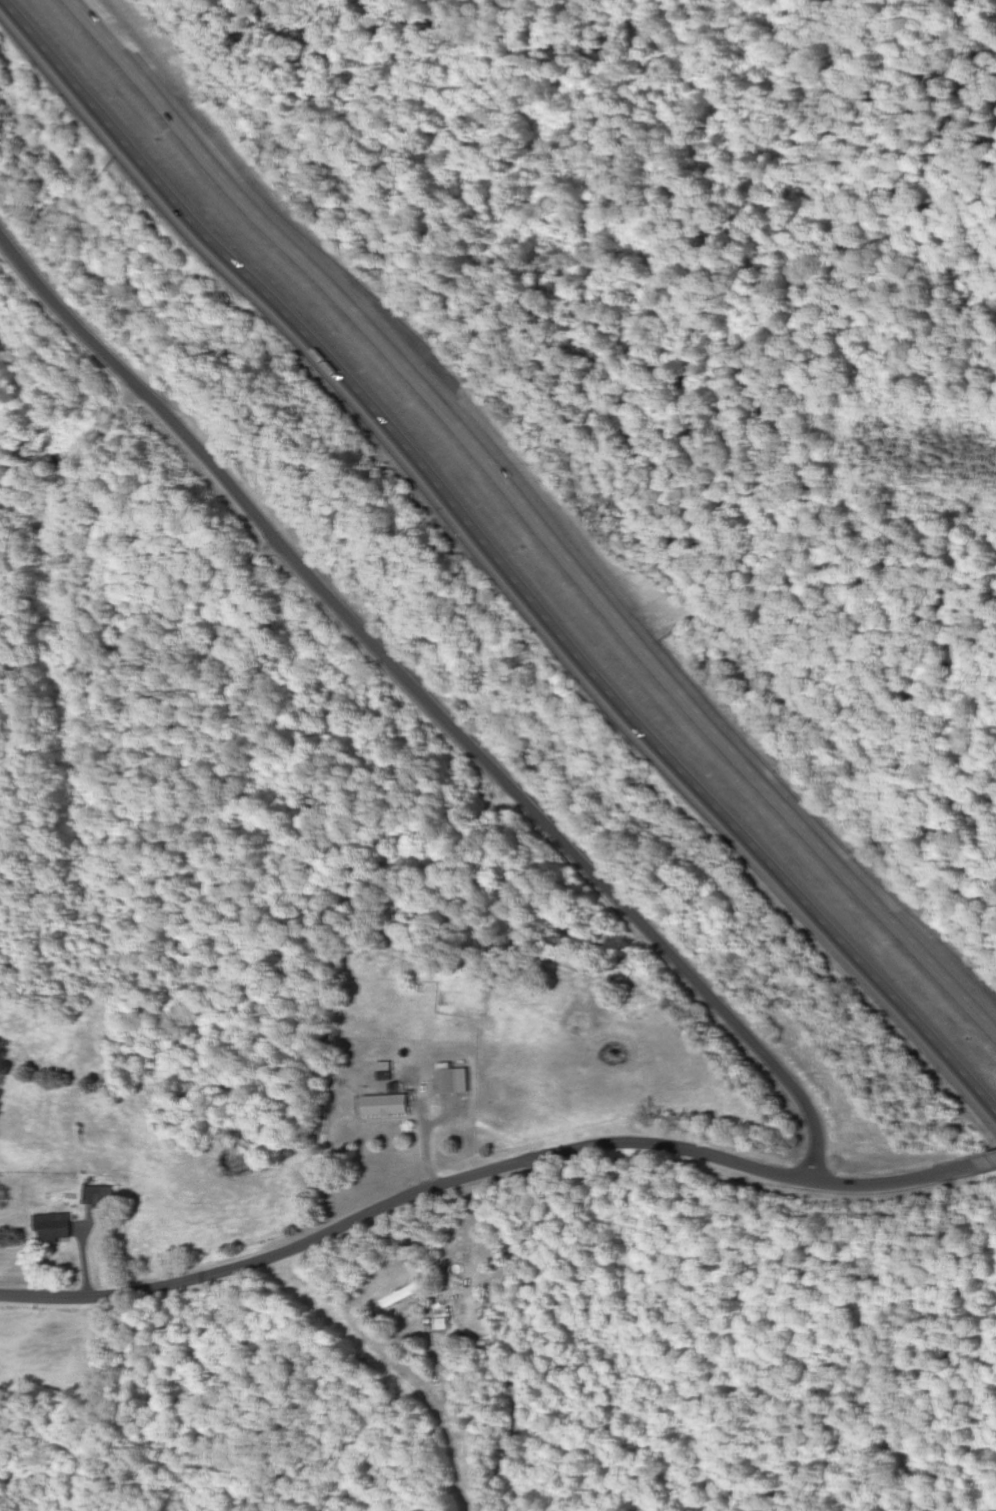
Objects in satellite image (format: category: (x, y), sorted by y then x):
road: (536, 521)
road: (502, 559)
road: (426, 695)
building: (456, 1081)
road: (977, 1166)
road: (473, 1176)
building: (102, 1196)
building: (56, 1228)
road: (508, 1341)

